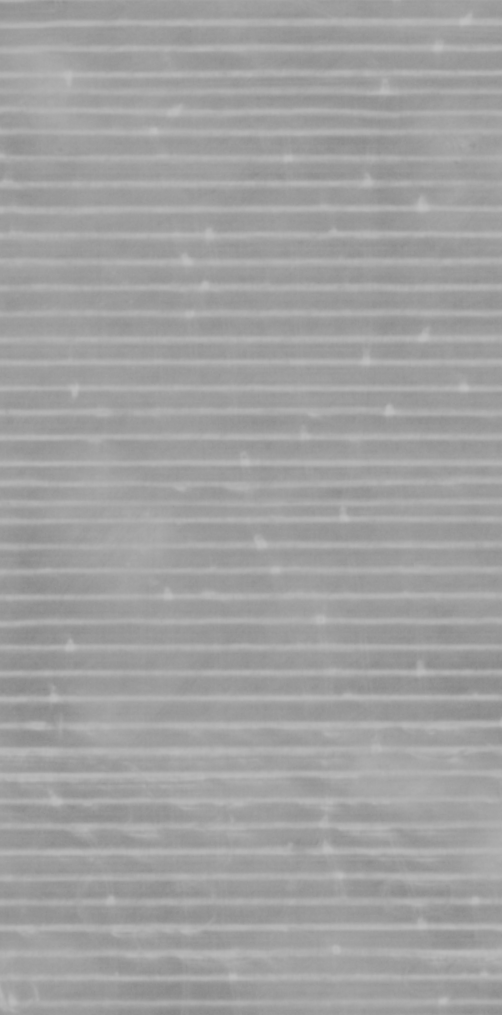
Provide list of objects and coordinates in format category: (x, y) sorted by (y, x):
crop: (251, 507)

